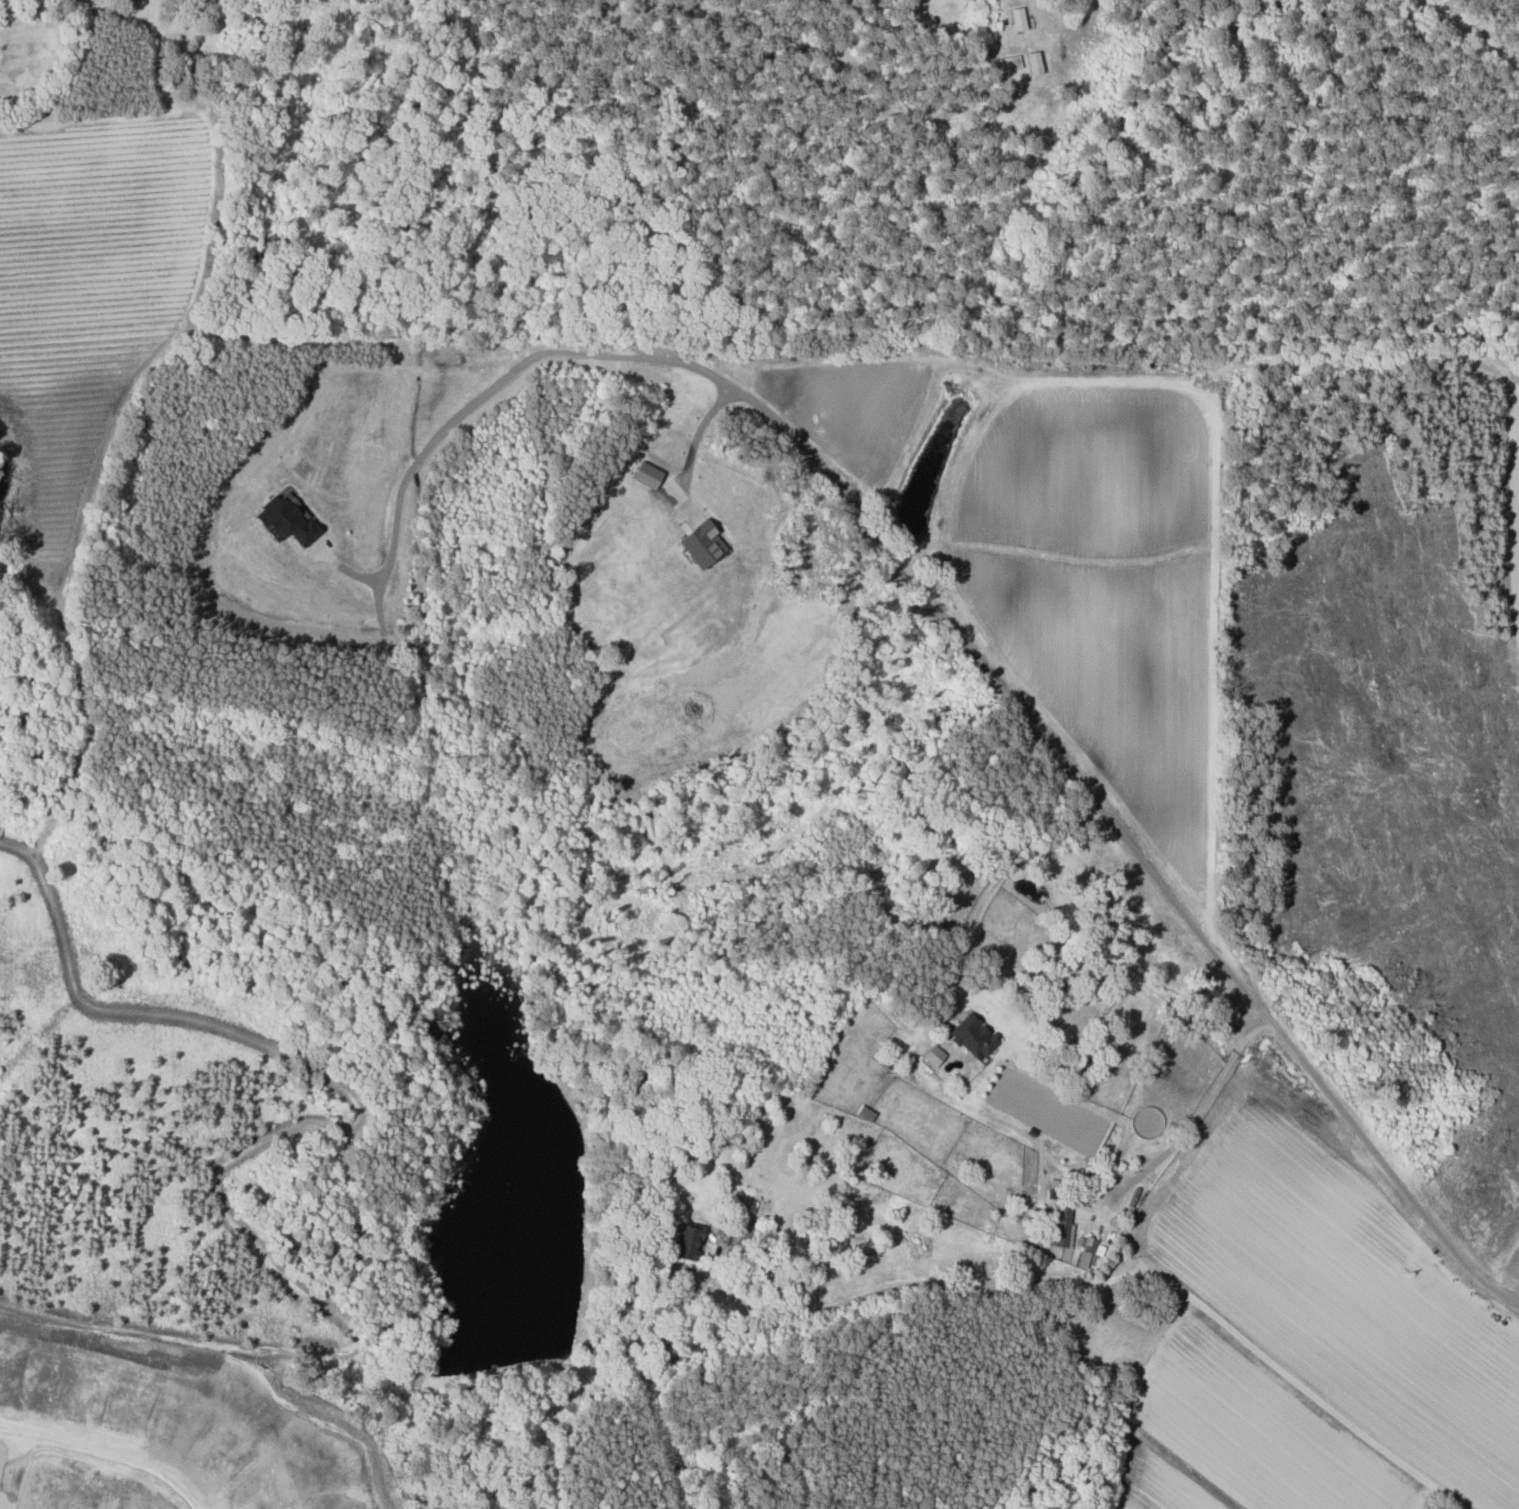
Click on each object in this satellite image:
building: (1020, 18)
road: (1467, 35)
road: (475, 398)
road: (700, 432)
building: (290, 516)
building: (704, 542)
road: (1116, 825)
road: (998, 877)
building: (975, 1034)
building: (936, 1054)
road: (1196, 1118)
building: (688, 1241)
building: (1095, 1245)
road: (1505, 1264)
road: (1085, 1282)
road: (679, 1312)
road: (105, 1453)
road: (16, 1468)

